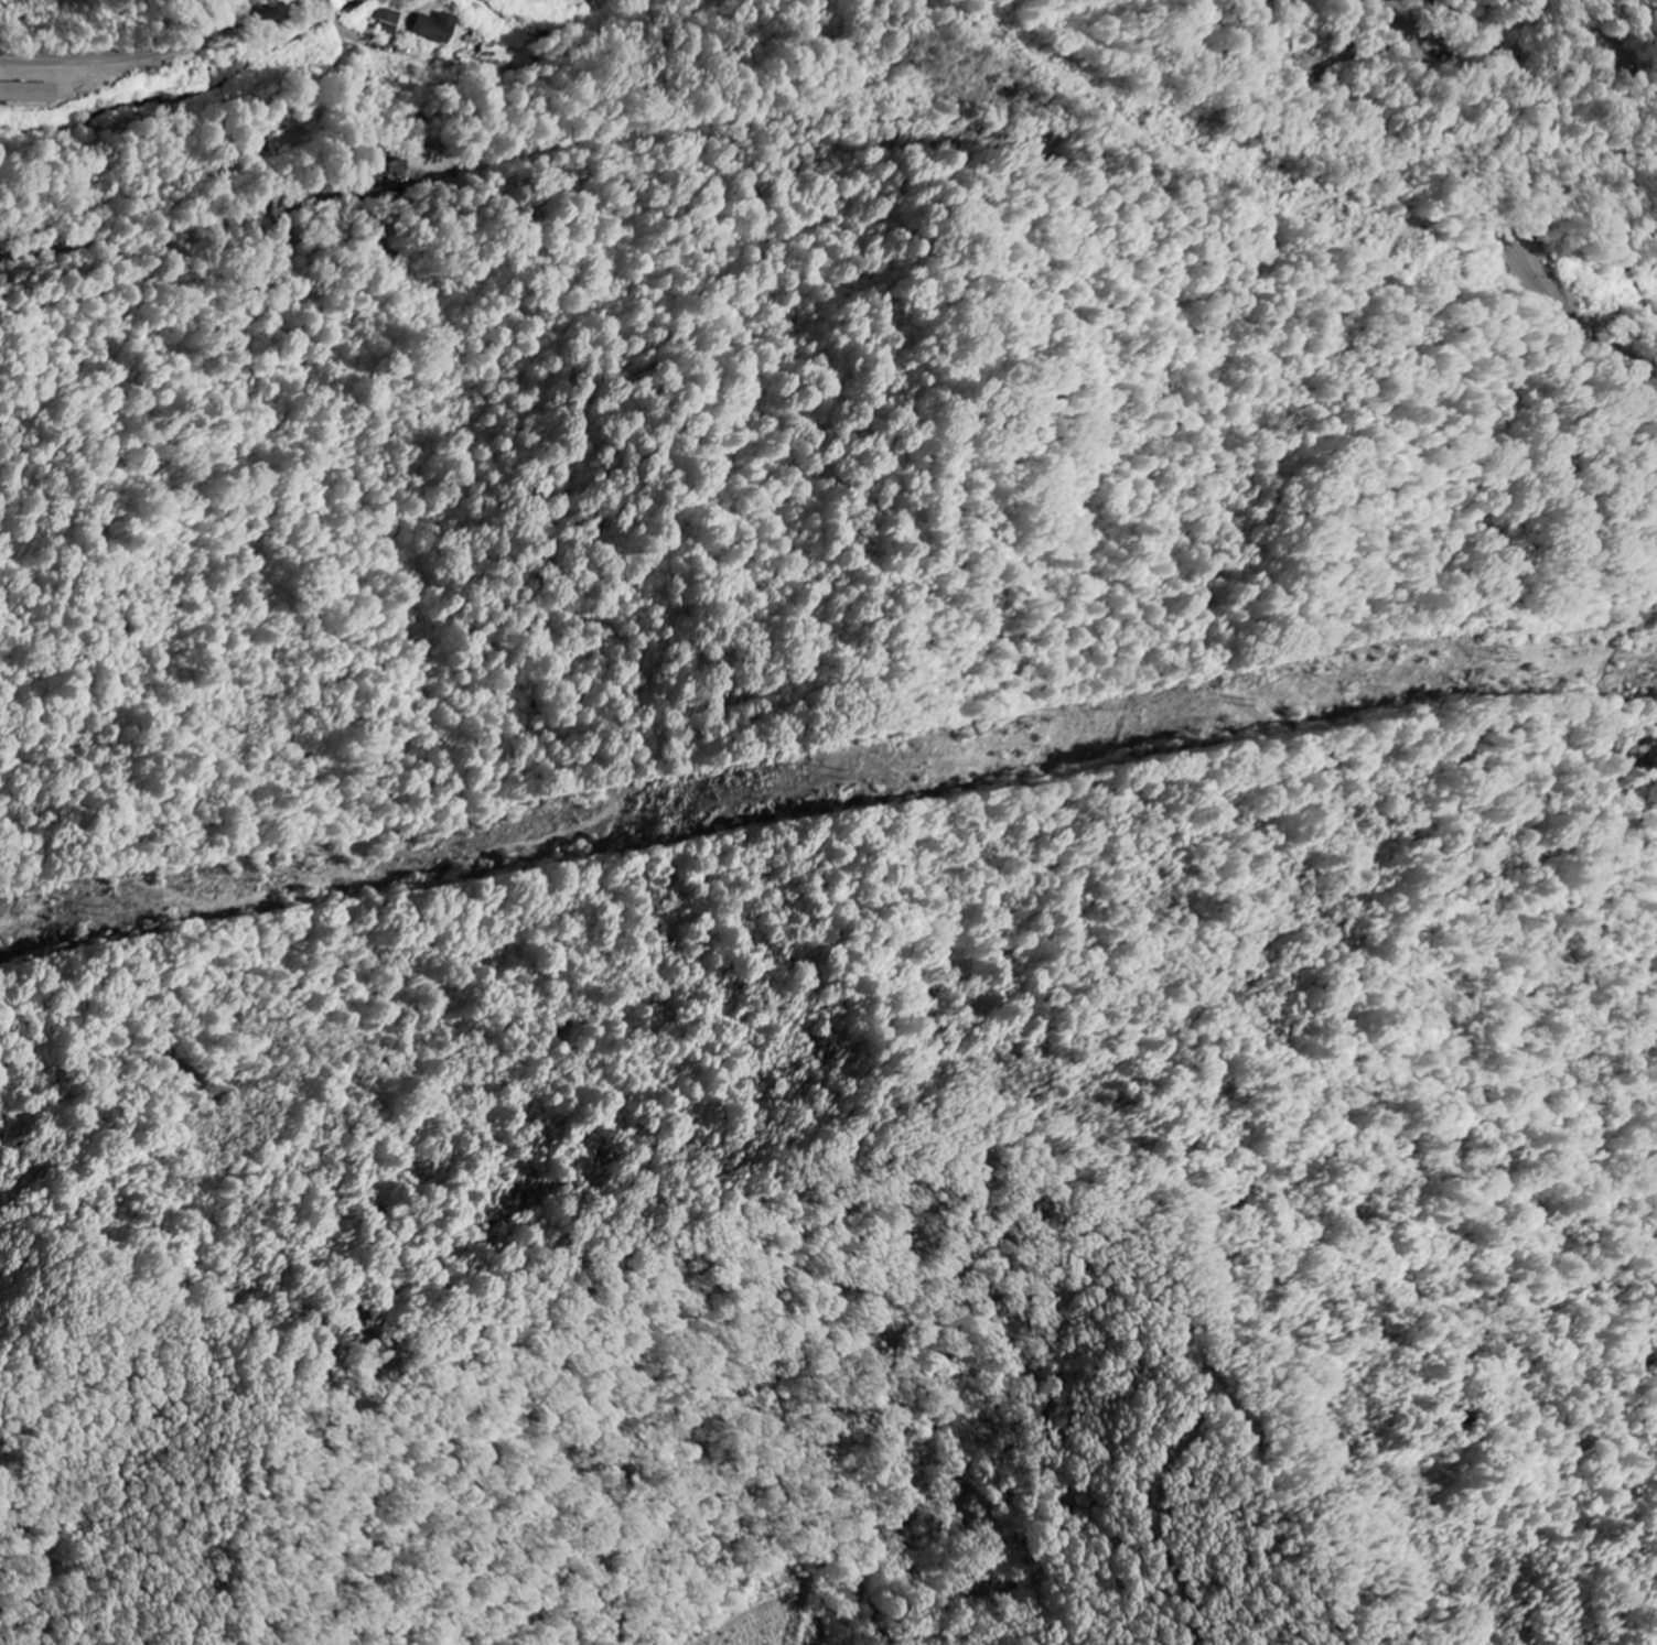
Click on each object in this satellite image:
road: (336, 21)
building: (394, 21)
building: (441, 28)
road: (143, 51)
building: (33, 94)
road: (1500, 214)

